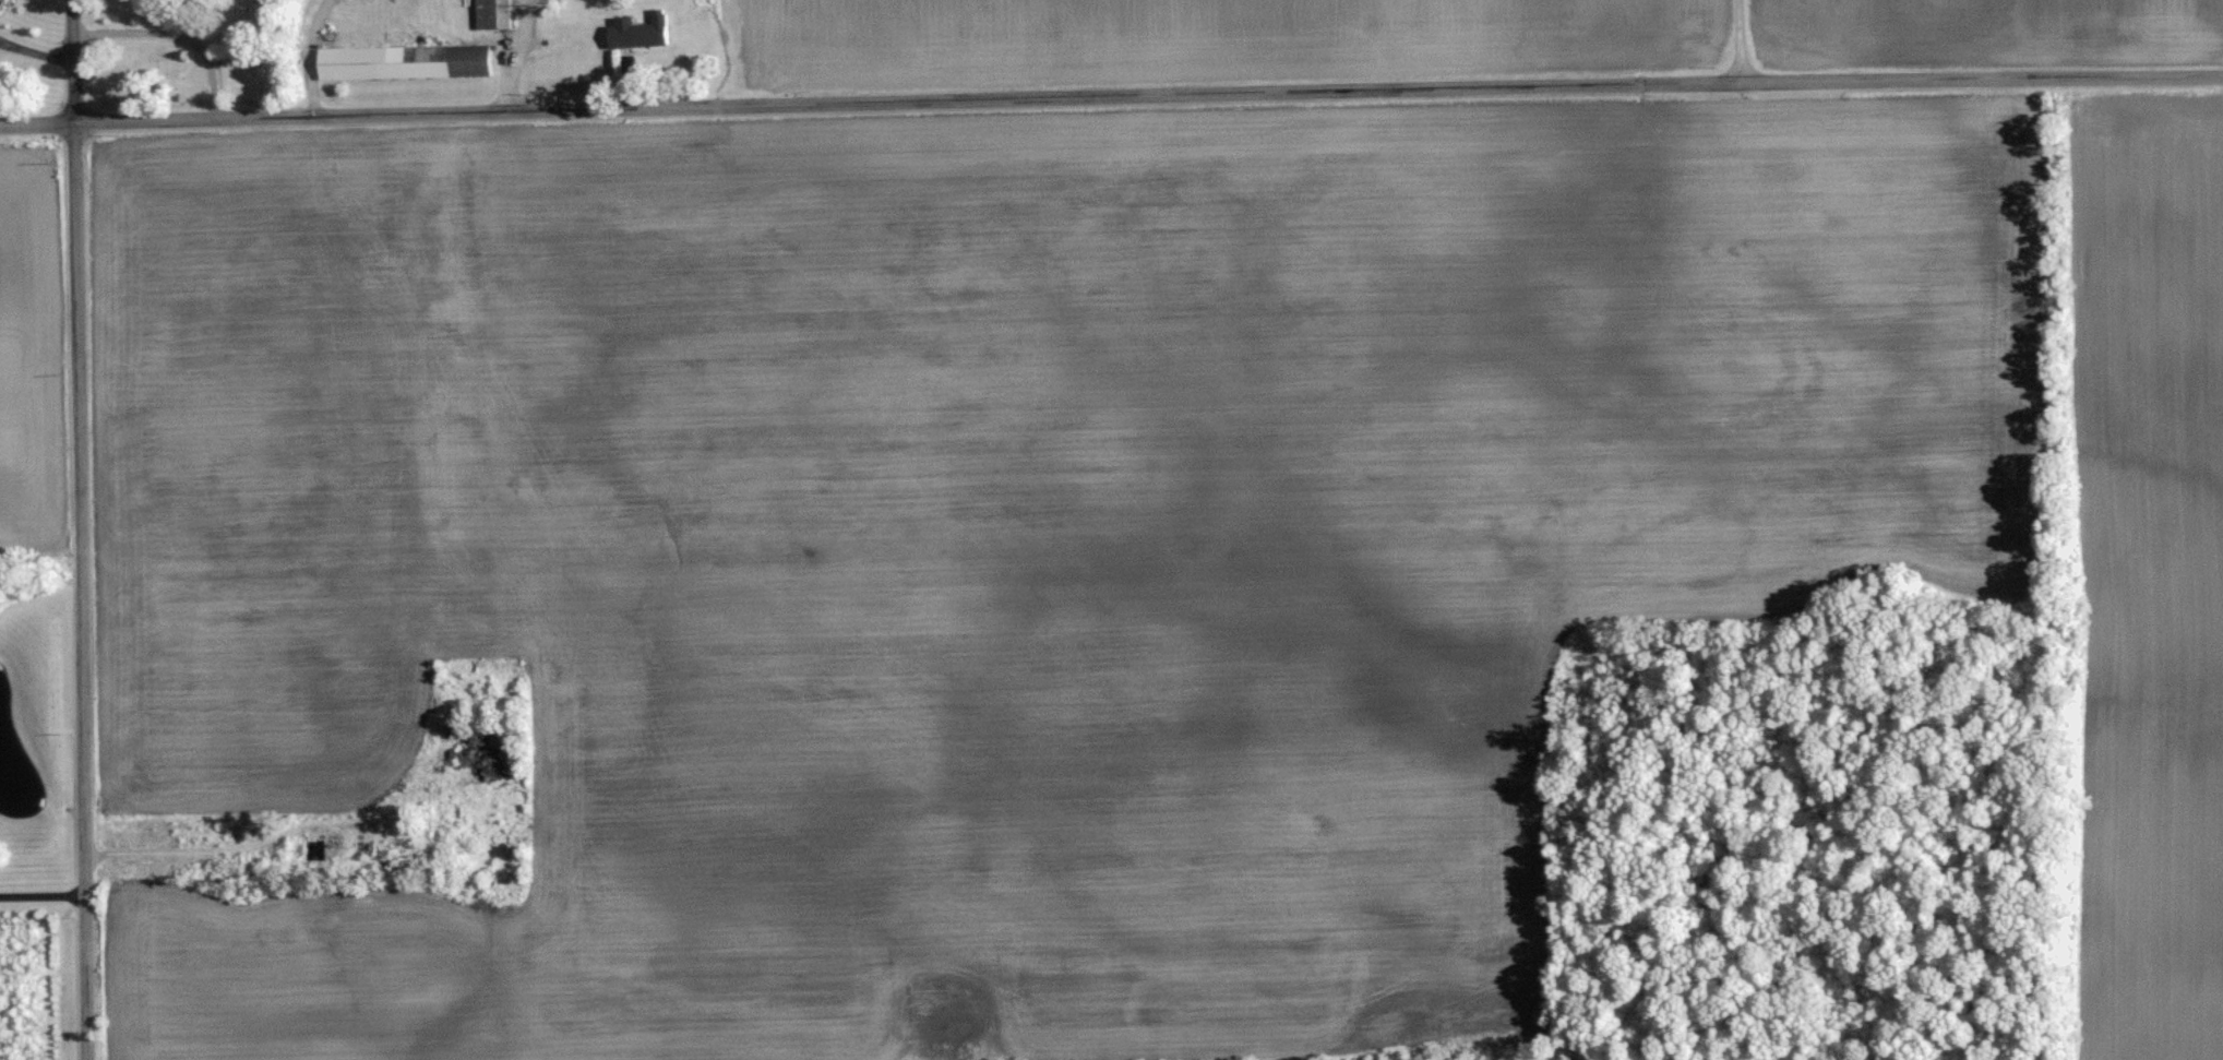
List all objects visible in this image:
building: (497, 13)
building: (645, 31)
road: (1749, 40)
road: (515, 56)
road: (308, 57)
building: (408, 61)
road: (1111, 96)
road: (76, 529)
building: (325, 847)
road: (41, 896)

